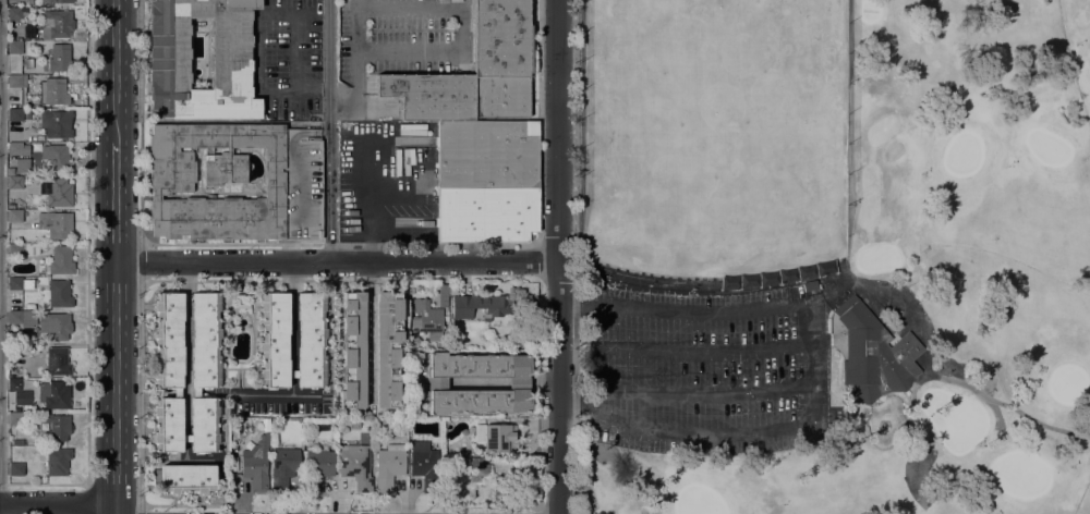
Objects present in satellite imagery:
building: (55, 1)
road: (425, 7)
park: (868, 12)
building: (19, 14)
building: (57, 25)
building: (29, 32)
building: (502, 38)
building: (17, 40)
building: (14, 48)
road: (256, 53)
building: (59, 58)
building: (229, 60)
road: (116, 71)
building: (26, 73)
building: (20, 82)
building: (56, 91)
building: (457, 96)
building: (14, 115)
road: (140, 118)
building: (57, 124)
road: (329, 132)
building: (886, 136)
park: (715, 144)
building: (17, 149)
park: (1049, 149)
building: (486, 156)
park: (962, 156)
building: (56, 157)
building: (23, 166)
building: (15, 183)
building: (237, 183)
building: (59, 193)
road: (367, 201)
road: (117, 203)
building: (11, 206)
building: (26, 213)
building: (486, 215)
building: (14, 217)
building: (56, 224)
building: (23, 250)
park: (836, 256)
road: (557, 257)
road: (574, 257)
building: (61, 261)
road: (141, 264)
road: (337, 264)
building: (20, 284)
building: (810, 285)
road: (88, 286)
building: (59, 294)
road: (579, 302)
building: (242, 304)
building: (477, 306)
road: (701, 313)
building: (427, 316)
road: (291, 317)
building: (22, 320)
road: (117, 323)
building: (55, 326)
building: (411, 326)
road: (368, 333)
building: (169, 340)
building: (274, 340)
building: (206, 341)
building: (311, 341)
building: (414, 342)
road: (185, 347)
building: (27, 348)
building: (387, 348)
building: (353, 350)
building: (16, 352)
road: (703, 353)
building: (874, 355)
building: (58, 360)
road: (598, 365)
road: (810, 365)
parking lot: (697, 370)
building: (292, 374)
road: (292, 374)
building: (519, 383)
park: (1067, 384)
building: (20, 393)
building: (177, 393)
building: (196, 393)
building: (53, 394)
road: (269, 394)
road: (305, 394)
road: (141, 396)
road: (705, 396)
road: (578, 405)
road: (1014, 412)
building: (15, 418)
park: (955, 420)
building: (366, 421)
building: (168, 425)
building: (204, 425)
building: (354, 425)
building: (59, 429)
road: (707, 436)
building: (496, 437)
building: (186, 439)
building: (17, 442)
road: (116, 449)
building: (58, 461)
building: (256, 465)
building: (424, 465)
building: (355, 466)
building: (389, 466)
building: (283, 467)
building: (318, 467)
building: (479, 467)
building: (15, 468)
park: (1021, 476)
building: (187, 479)
road: (88, 499)
park: (699, 502)
road: (44, 509)
road: (140, 509)

